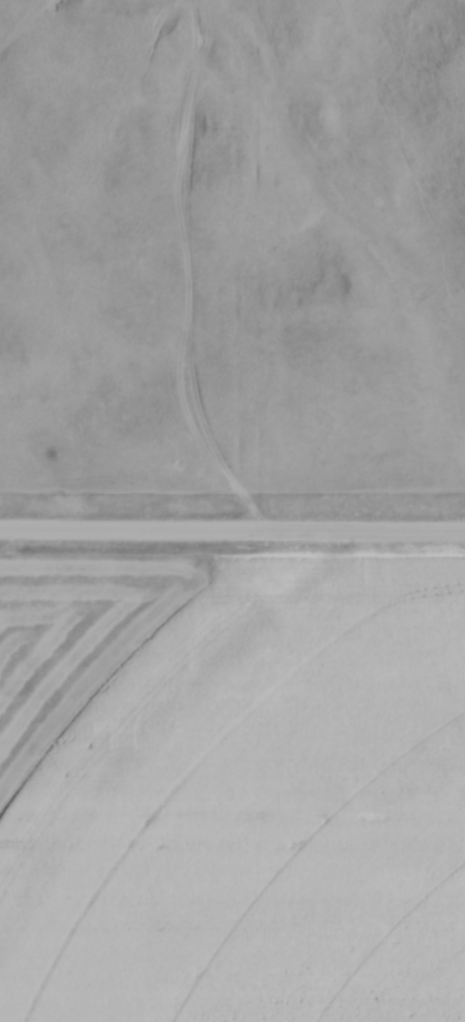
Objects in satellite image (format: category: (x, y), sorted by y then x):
road: (232, 531)

